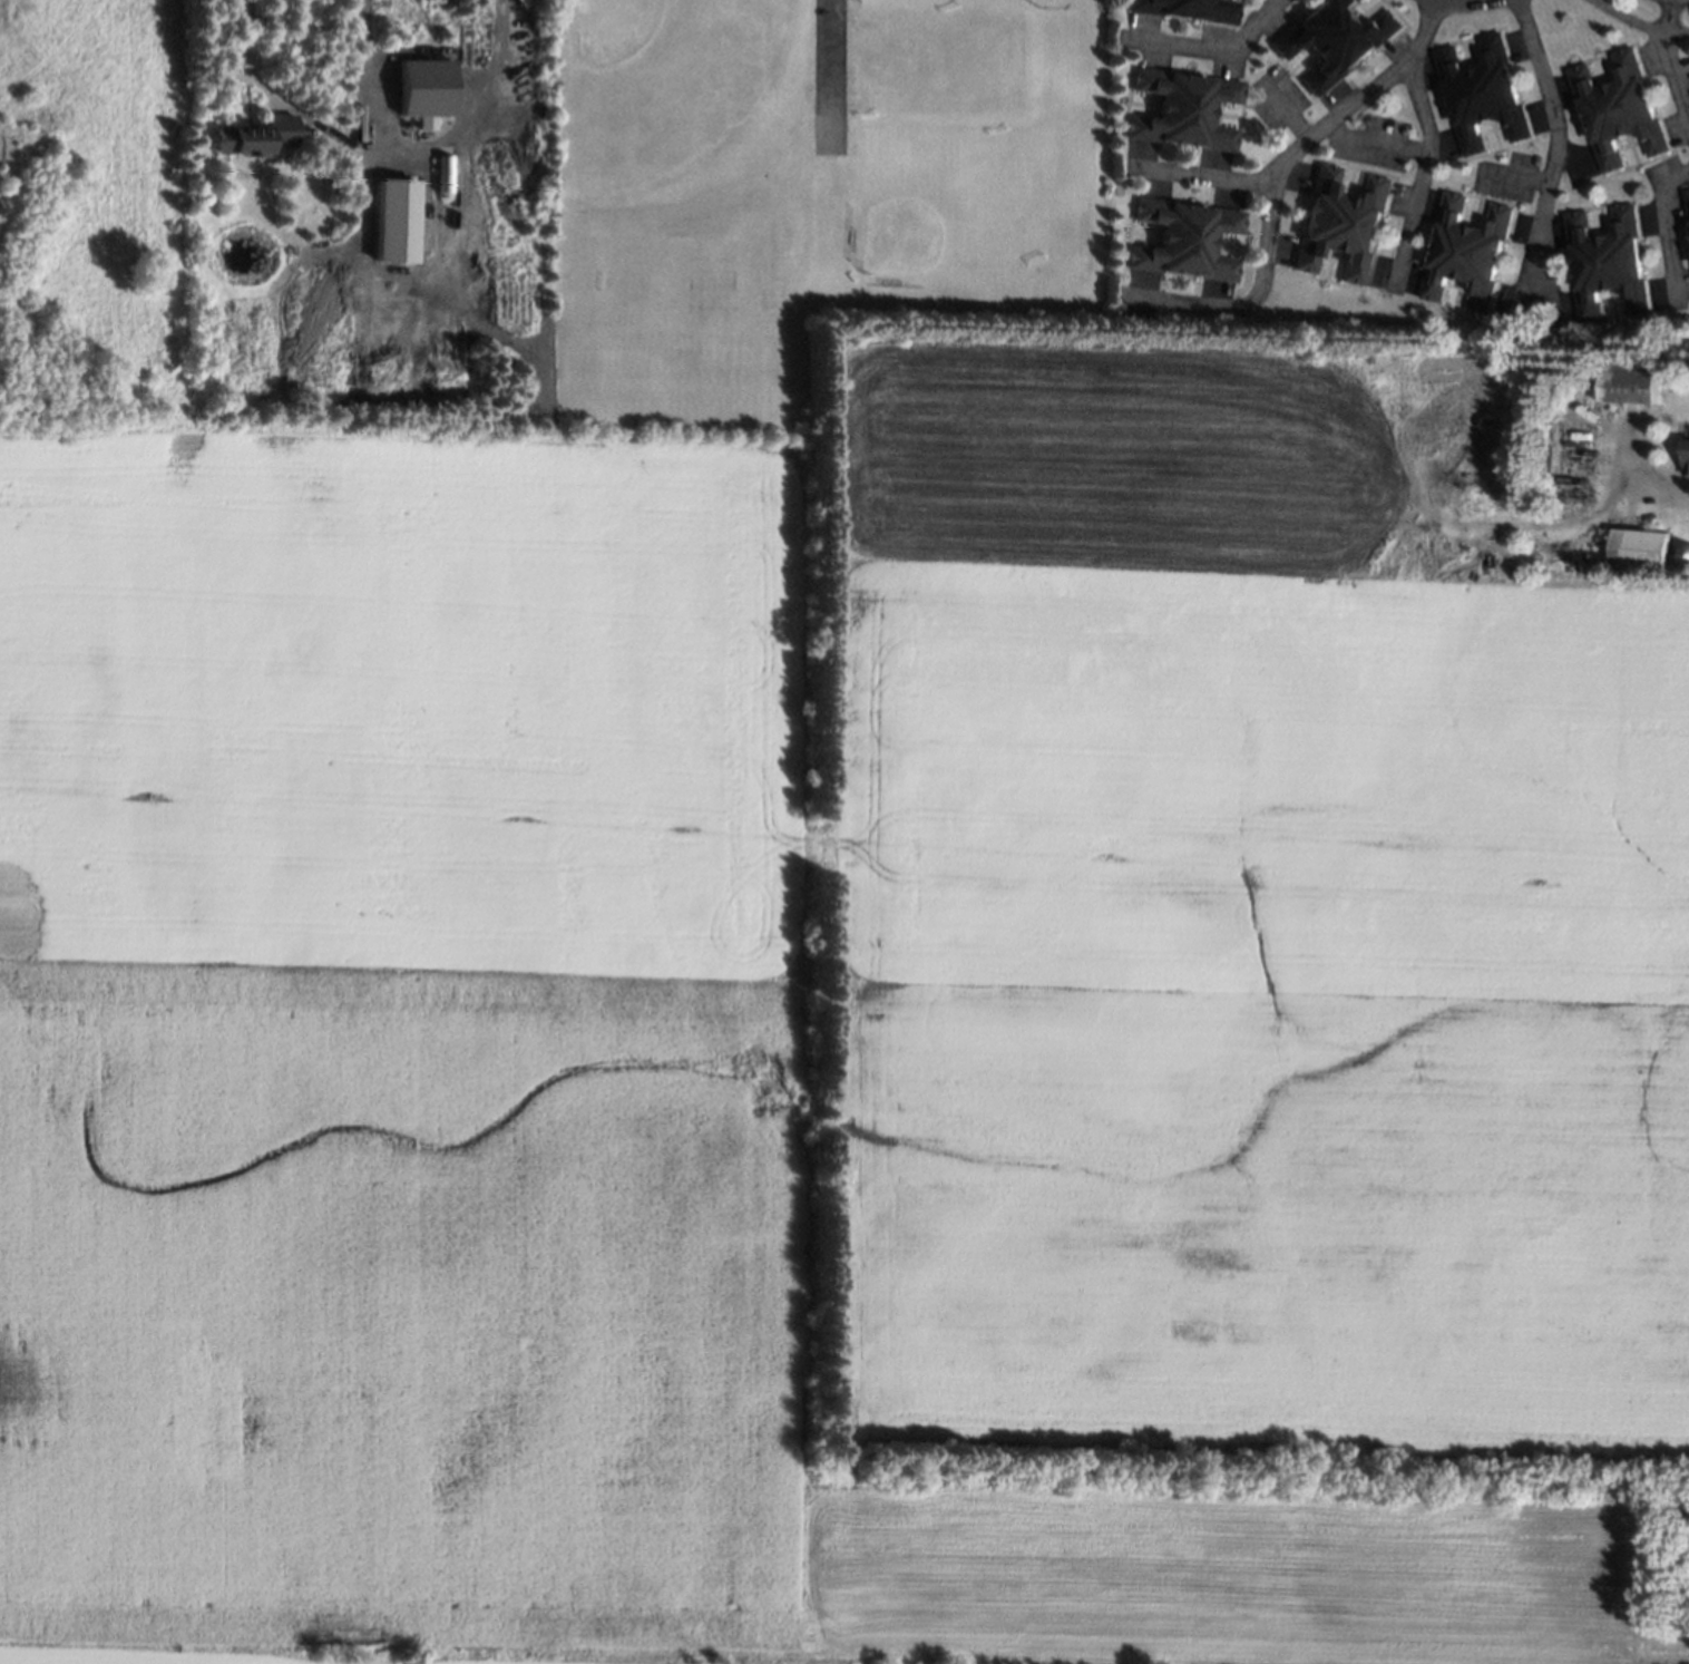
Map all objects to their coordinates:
road: (1455, 8)
building: (1191, 10)
road: (1633, 25)
building: (1336, 41)
building: (465, 45)
road: (1212, 46)
park: (637, 59)
road: (1668, 69)
building: (424, 86)
building: (1482, 97)
building: (1189, 113)
building: (1620, 114)
building: (251, 137)
road: (1370, 144)
road: (420, 148)
road: (1544, 162)
building: (445, 173)
road: (1201, 174)
road: (1415, 179)
building: (304, 181)
building: (319, 183)
road: (1269, 186)
park: (810, 193)
building: (1688, 200)
park: (920, 214)
building: (394, 220)
road: (1656, 223)
building: (1345, 231)
building: (1191, 244)
building: (1467, 257)
building: (1609, 266)
building: (1633, 378)
building: (1576, 446)
building: (1686, 454)
road: (1663, 492)
building: (1649, 544)
building: (1687, 548)
crop: (831, 1044)

